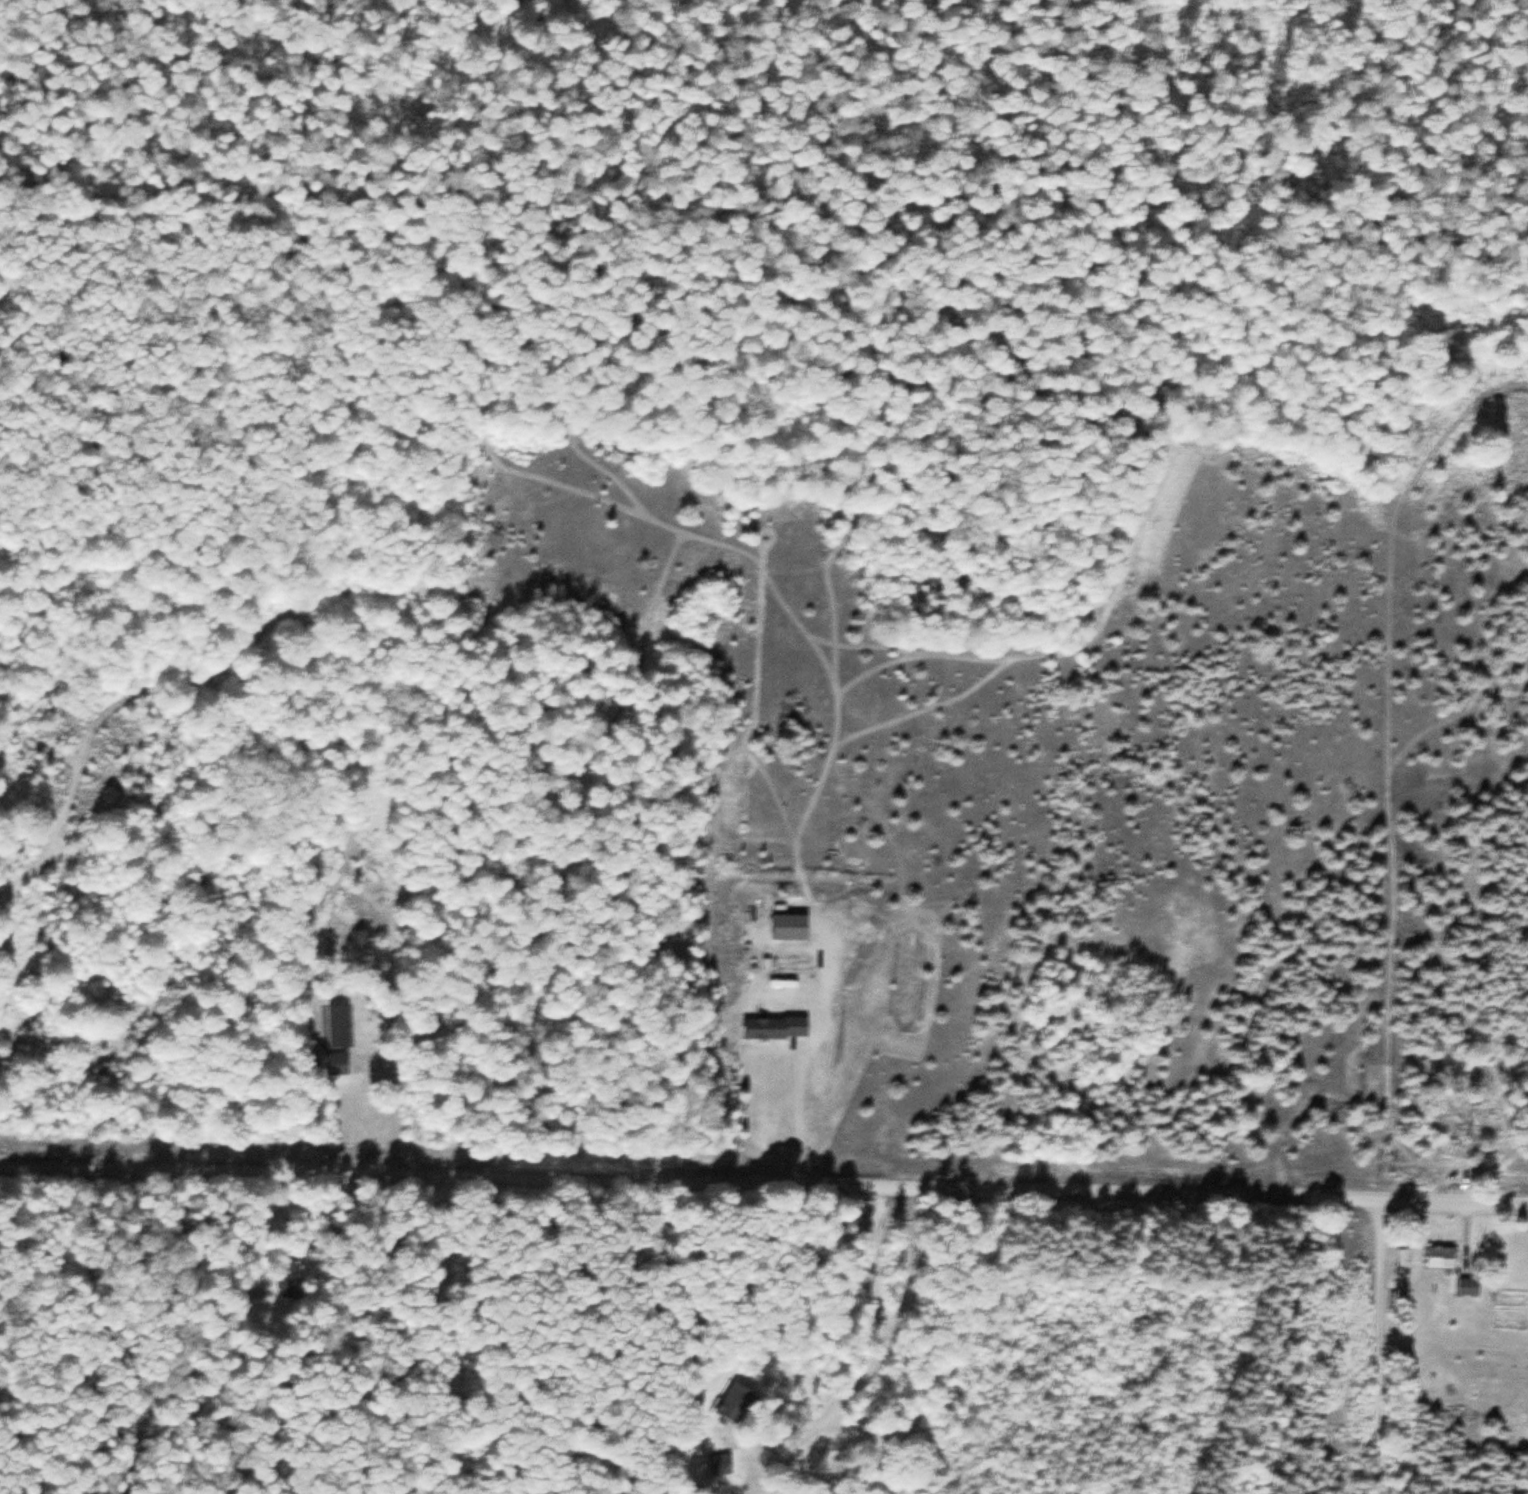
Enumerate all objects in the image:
building: (789, 926)
building: (338, 1025)
building: (775, 1027)
building: (335, 1063)
road: (763, 1184)
building: (1440, 1256)
building: (1467, 1286)
road: (1379, 1346)
road: (880, 1348)
building: (835, 1450)
building: (720, 1469)

